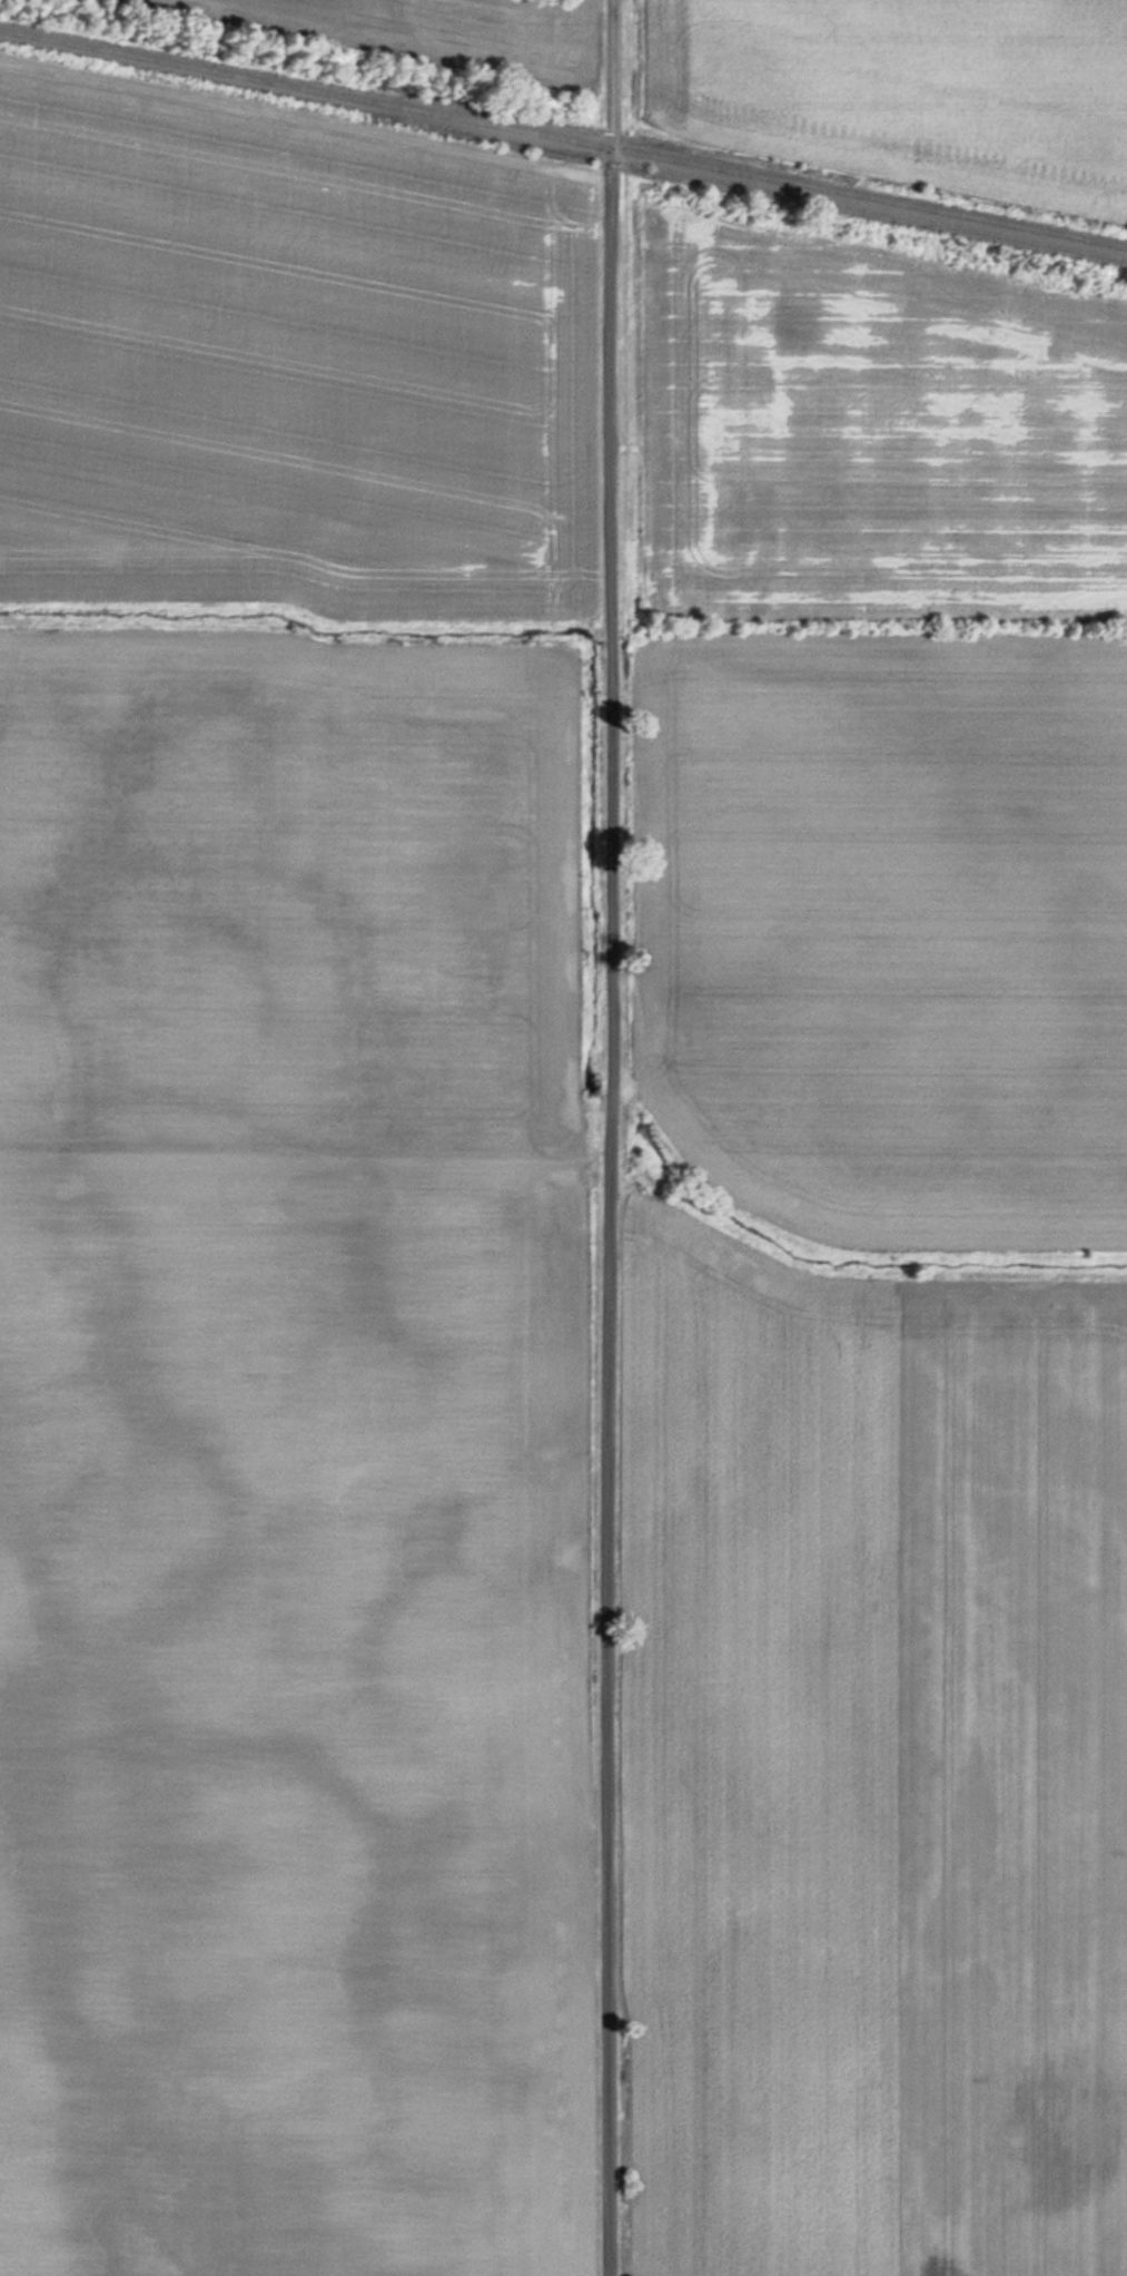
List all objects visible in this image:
railway: (563, 139)
railway: (868, 207)
road: (607, 1137)

